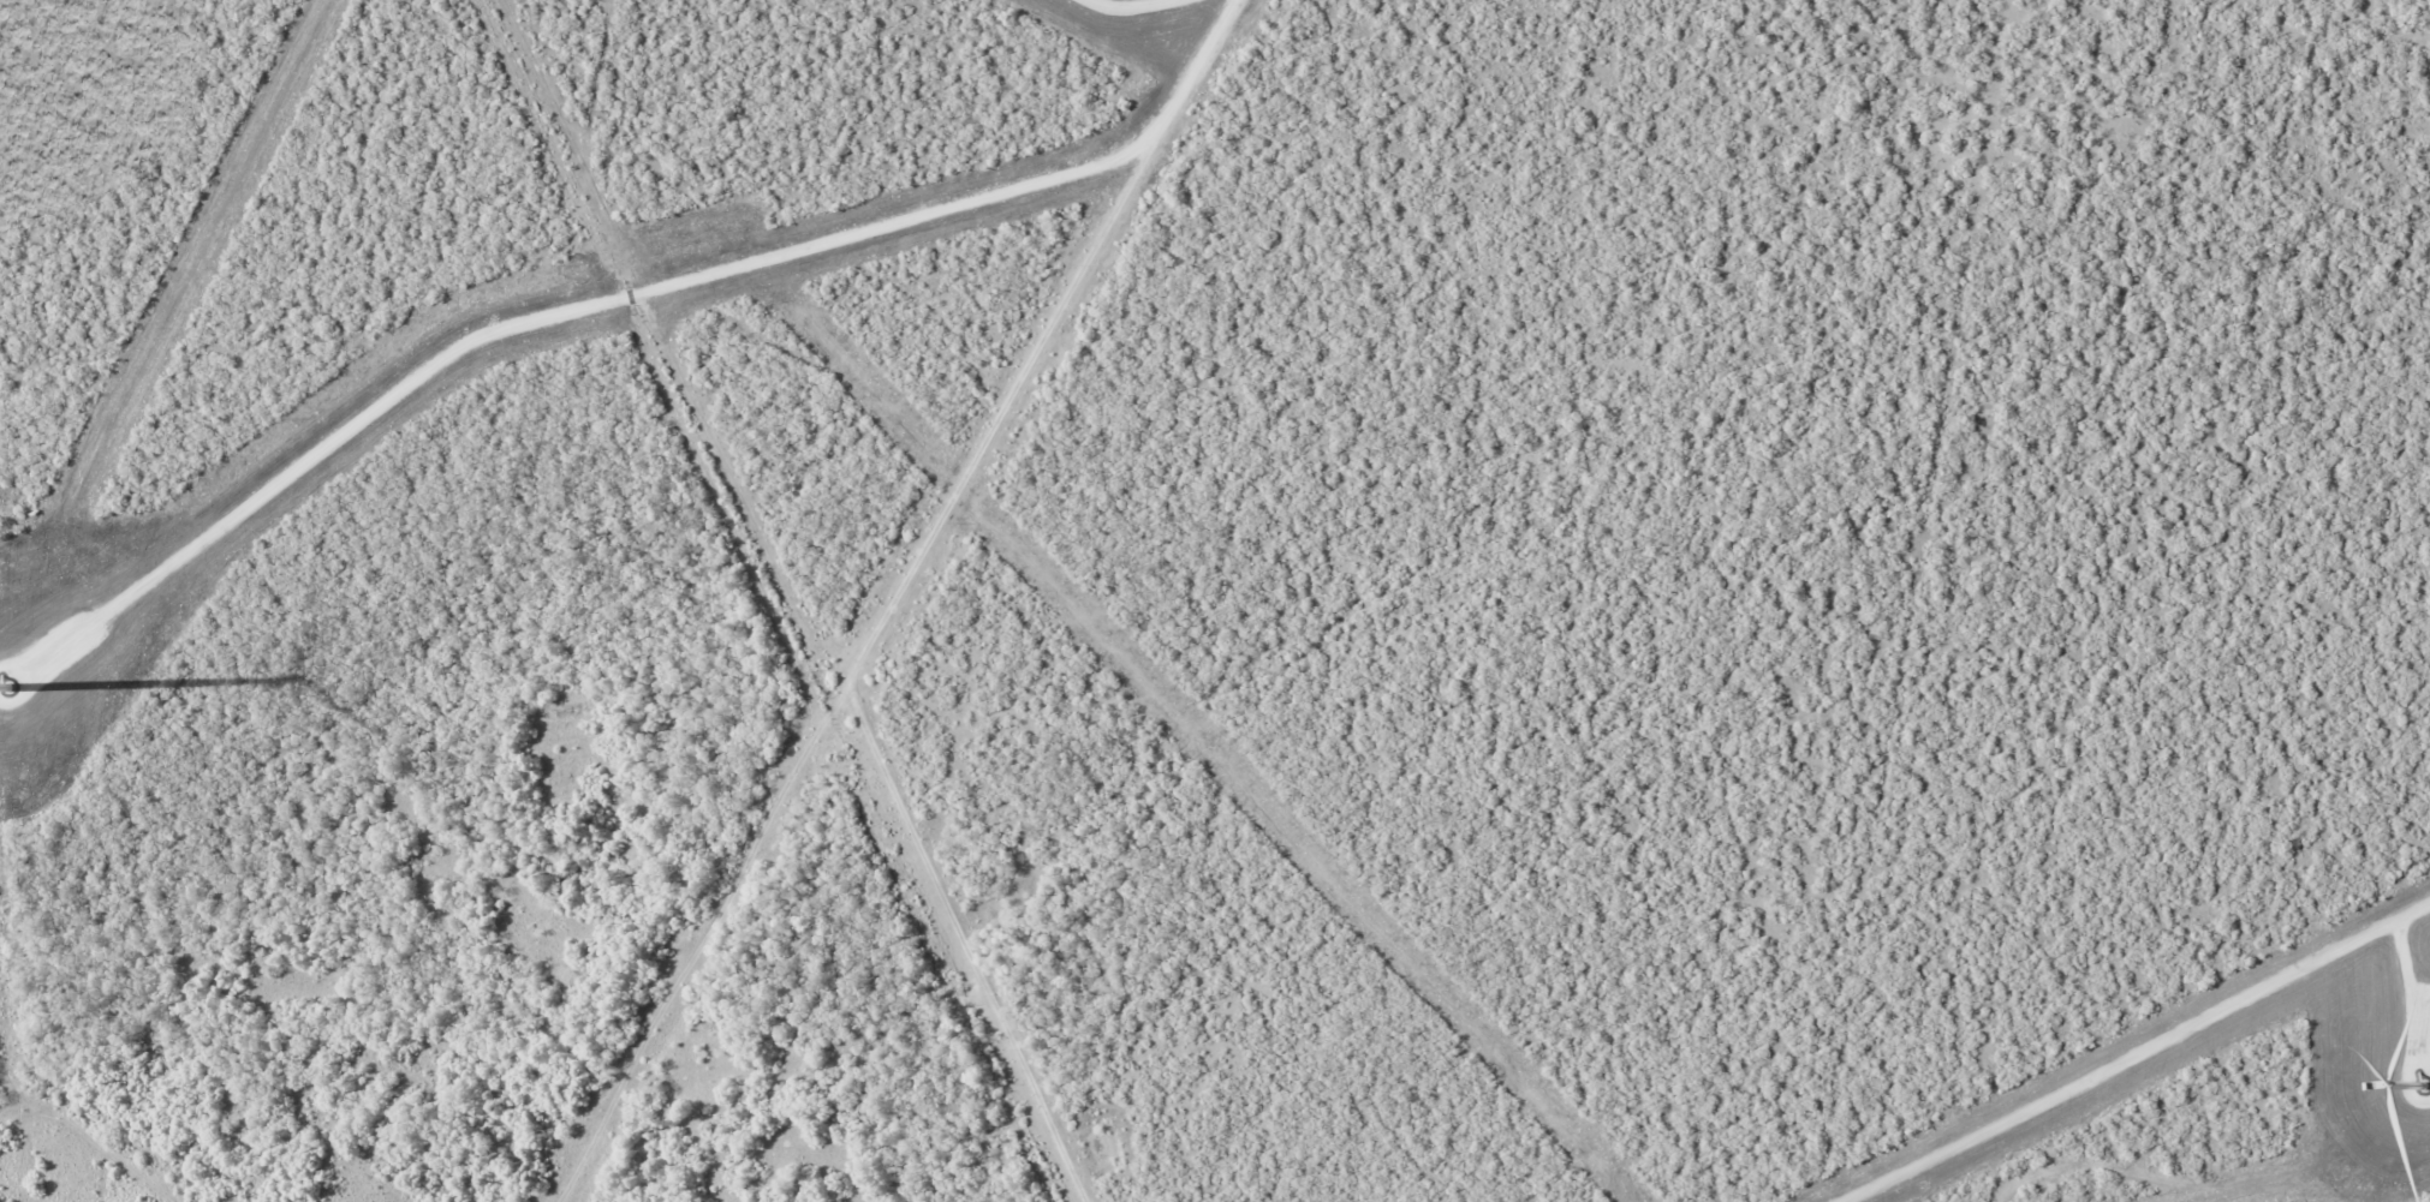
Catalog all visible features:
wind turbine: (14, 684)

